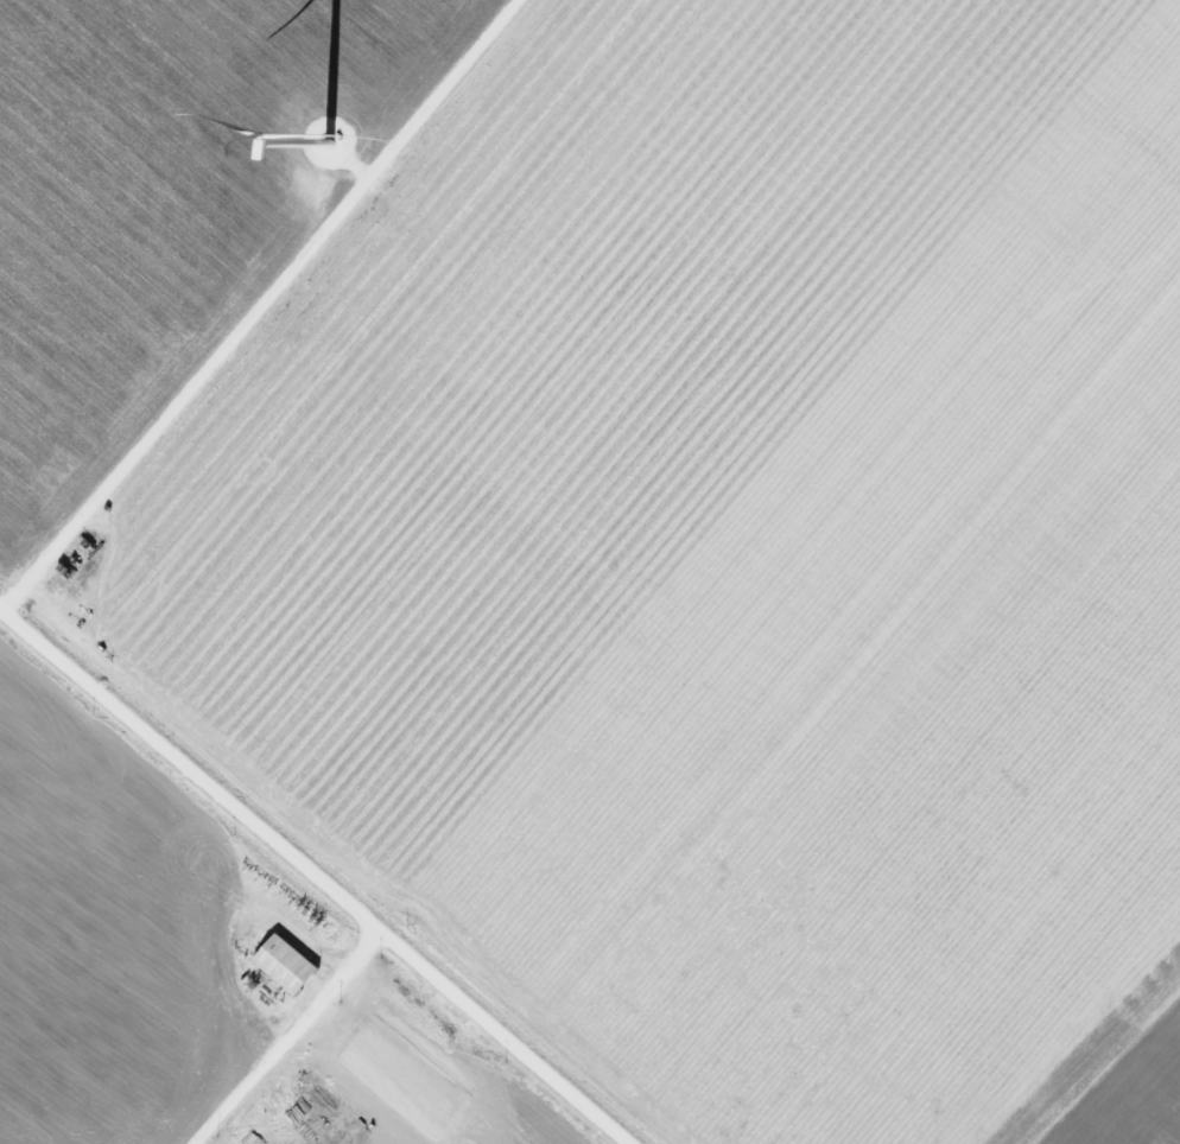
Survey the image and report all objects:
wind turbine: (342, 135)
road: (852, 694)
road: (312, 911)
building: (284, 965)
road: (266, 1046)

